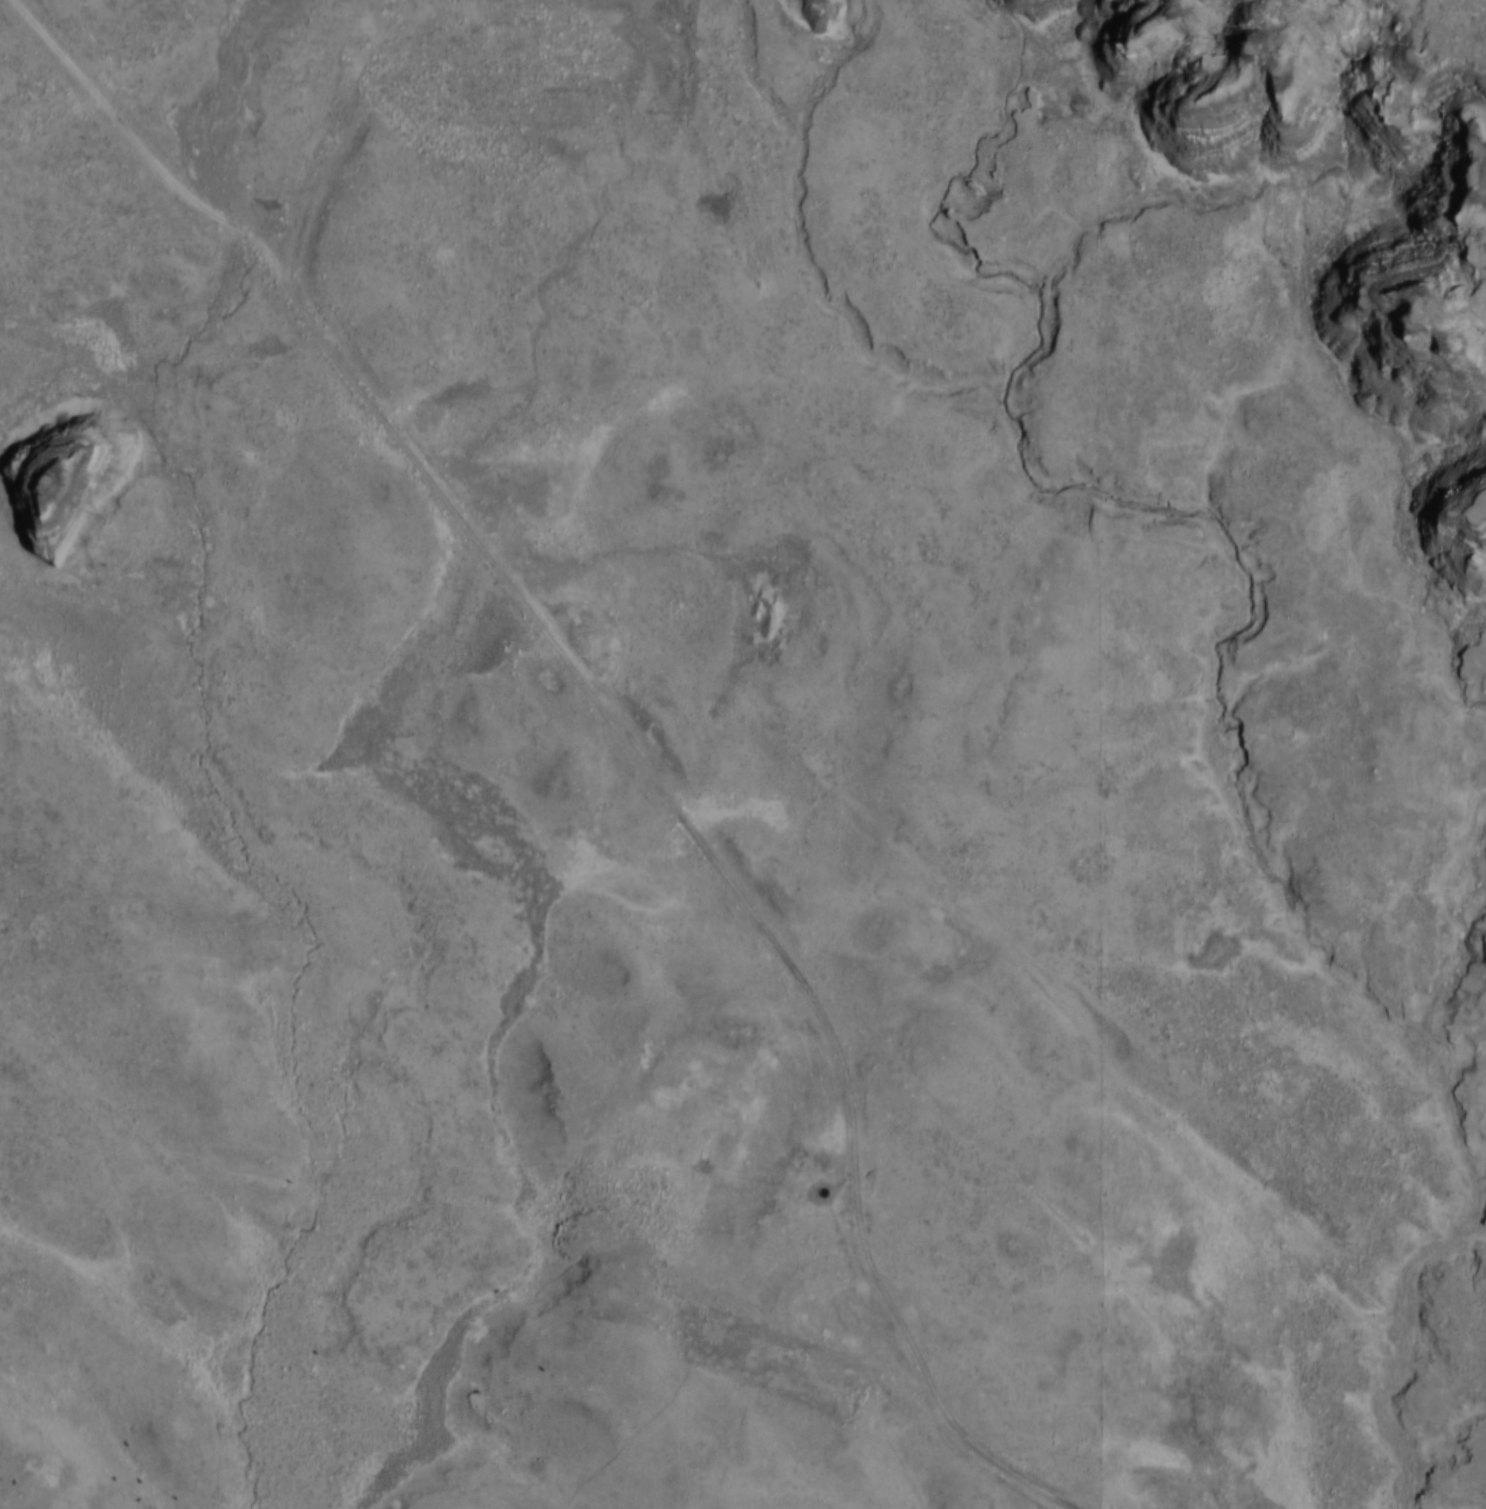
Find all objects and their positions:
road: (609, 722)

